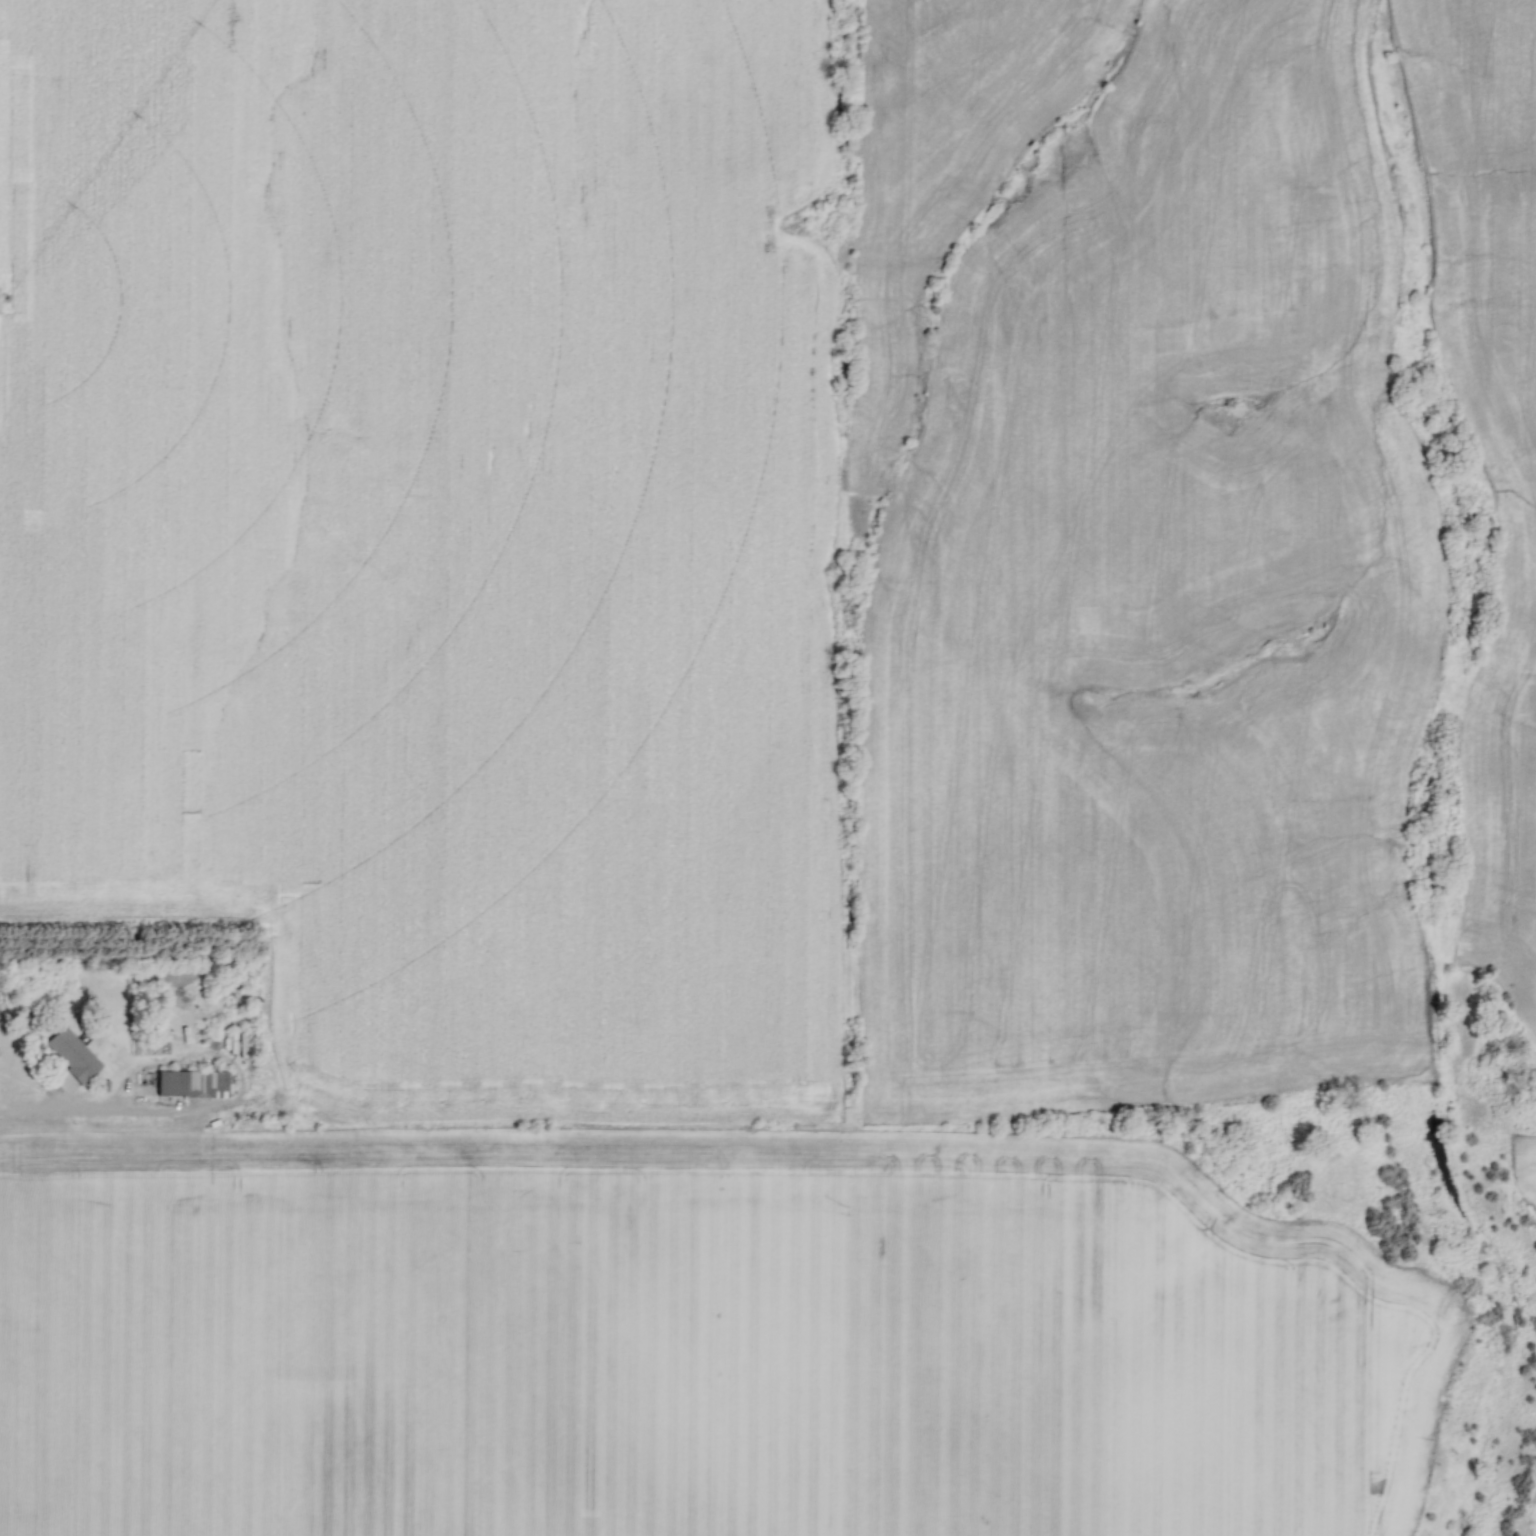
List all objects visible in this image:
building: (249, 991)
building: (70, 1054)
building: (187, 1083)
road: (240, 1094)
road: (56, 1116)

